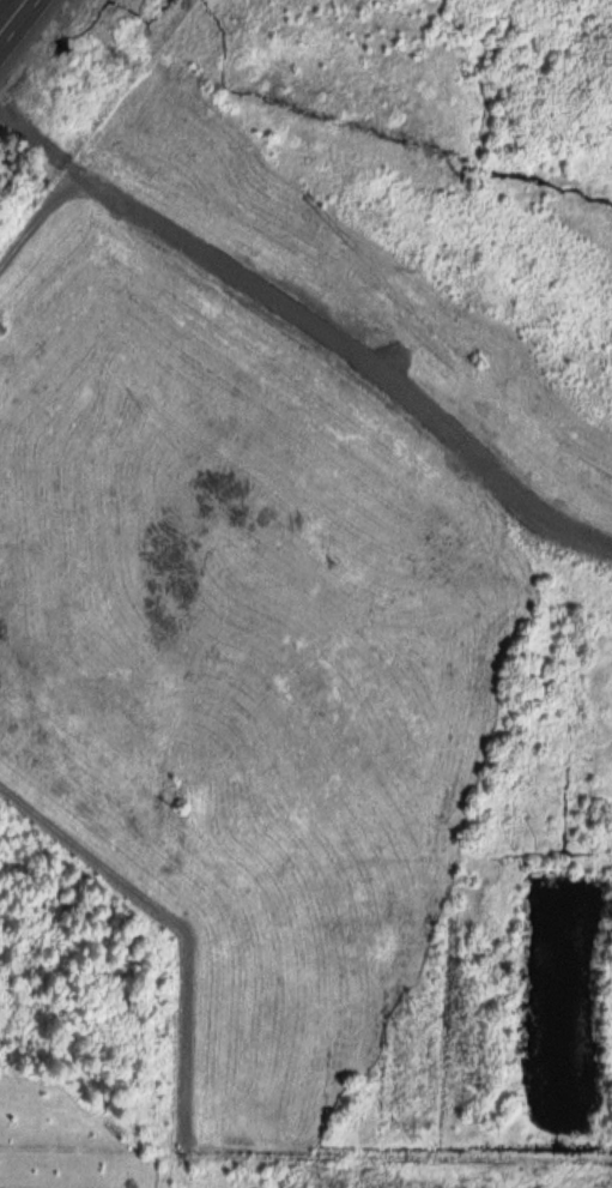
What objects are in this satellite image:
road: (13, 17)
airport: (334, 561)

